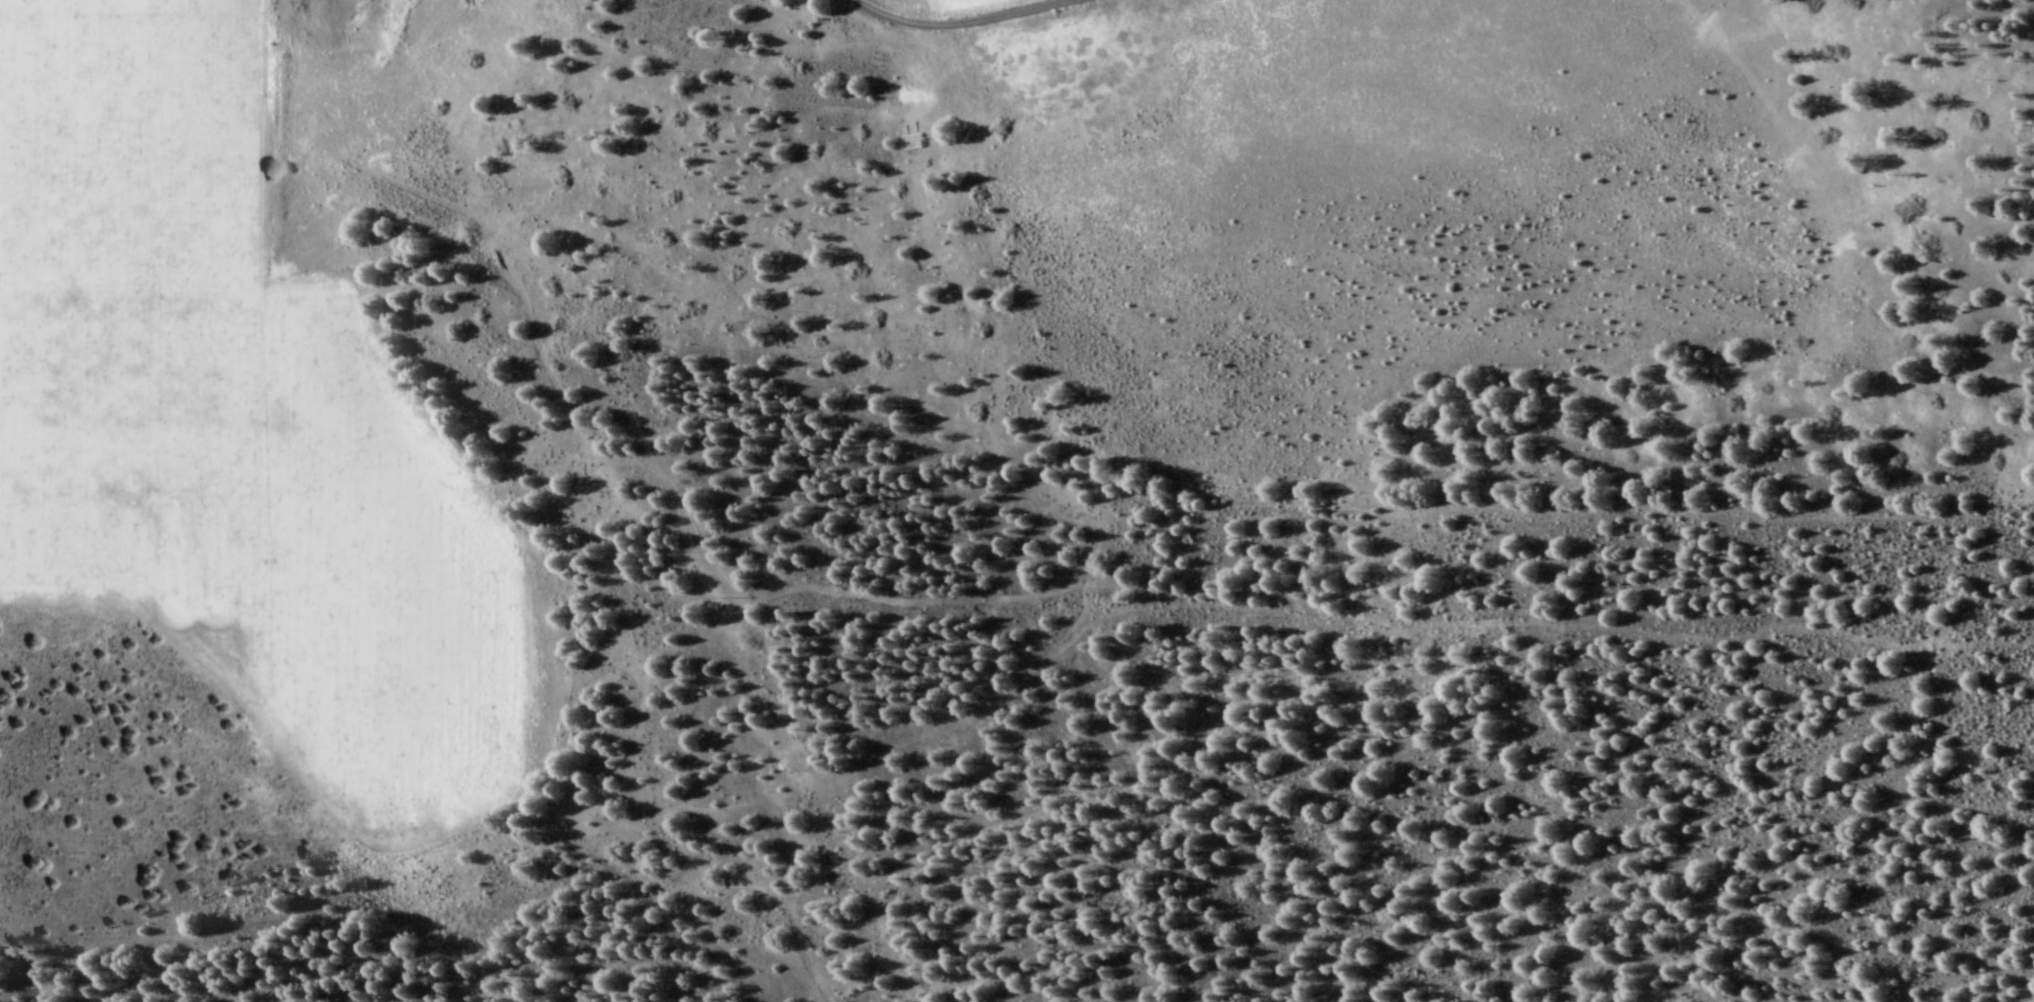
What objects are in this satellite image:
road: (958, 17)

